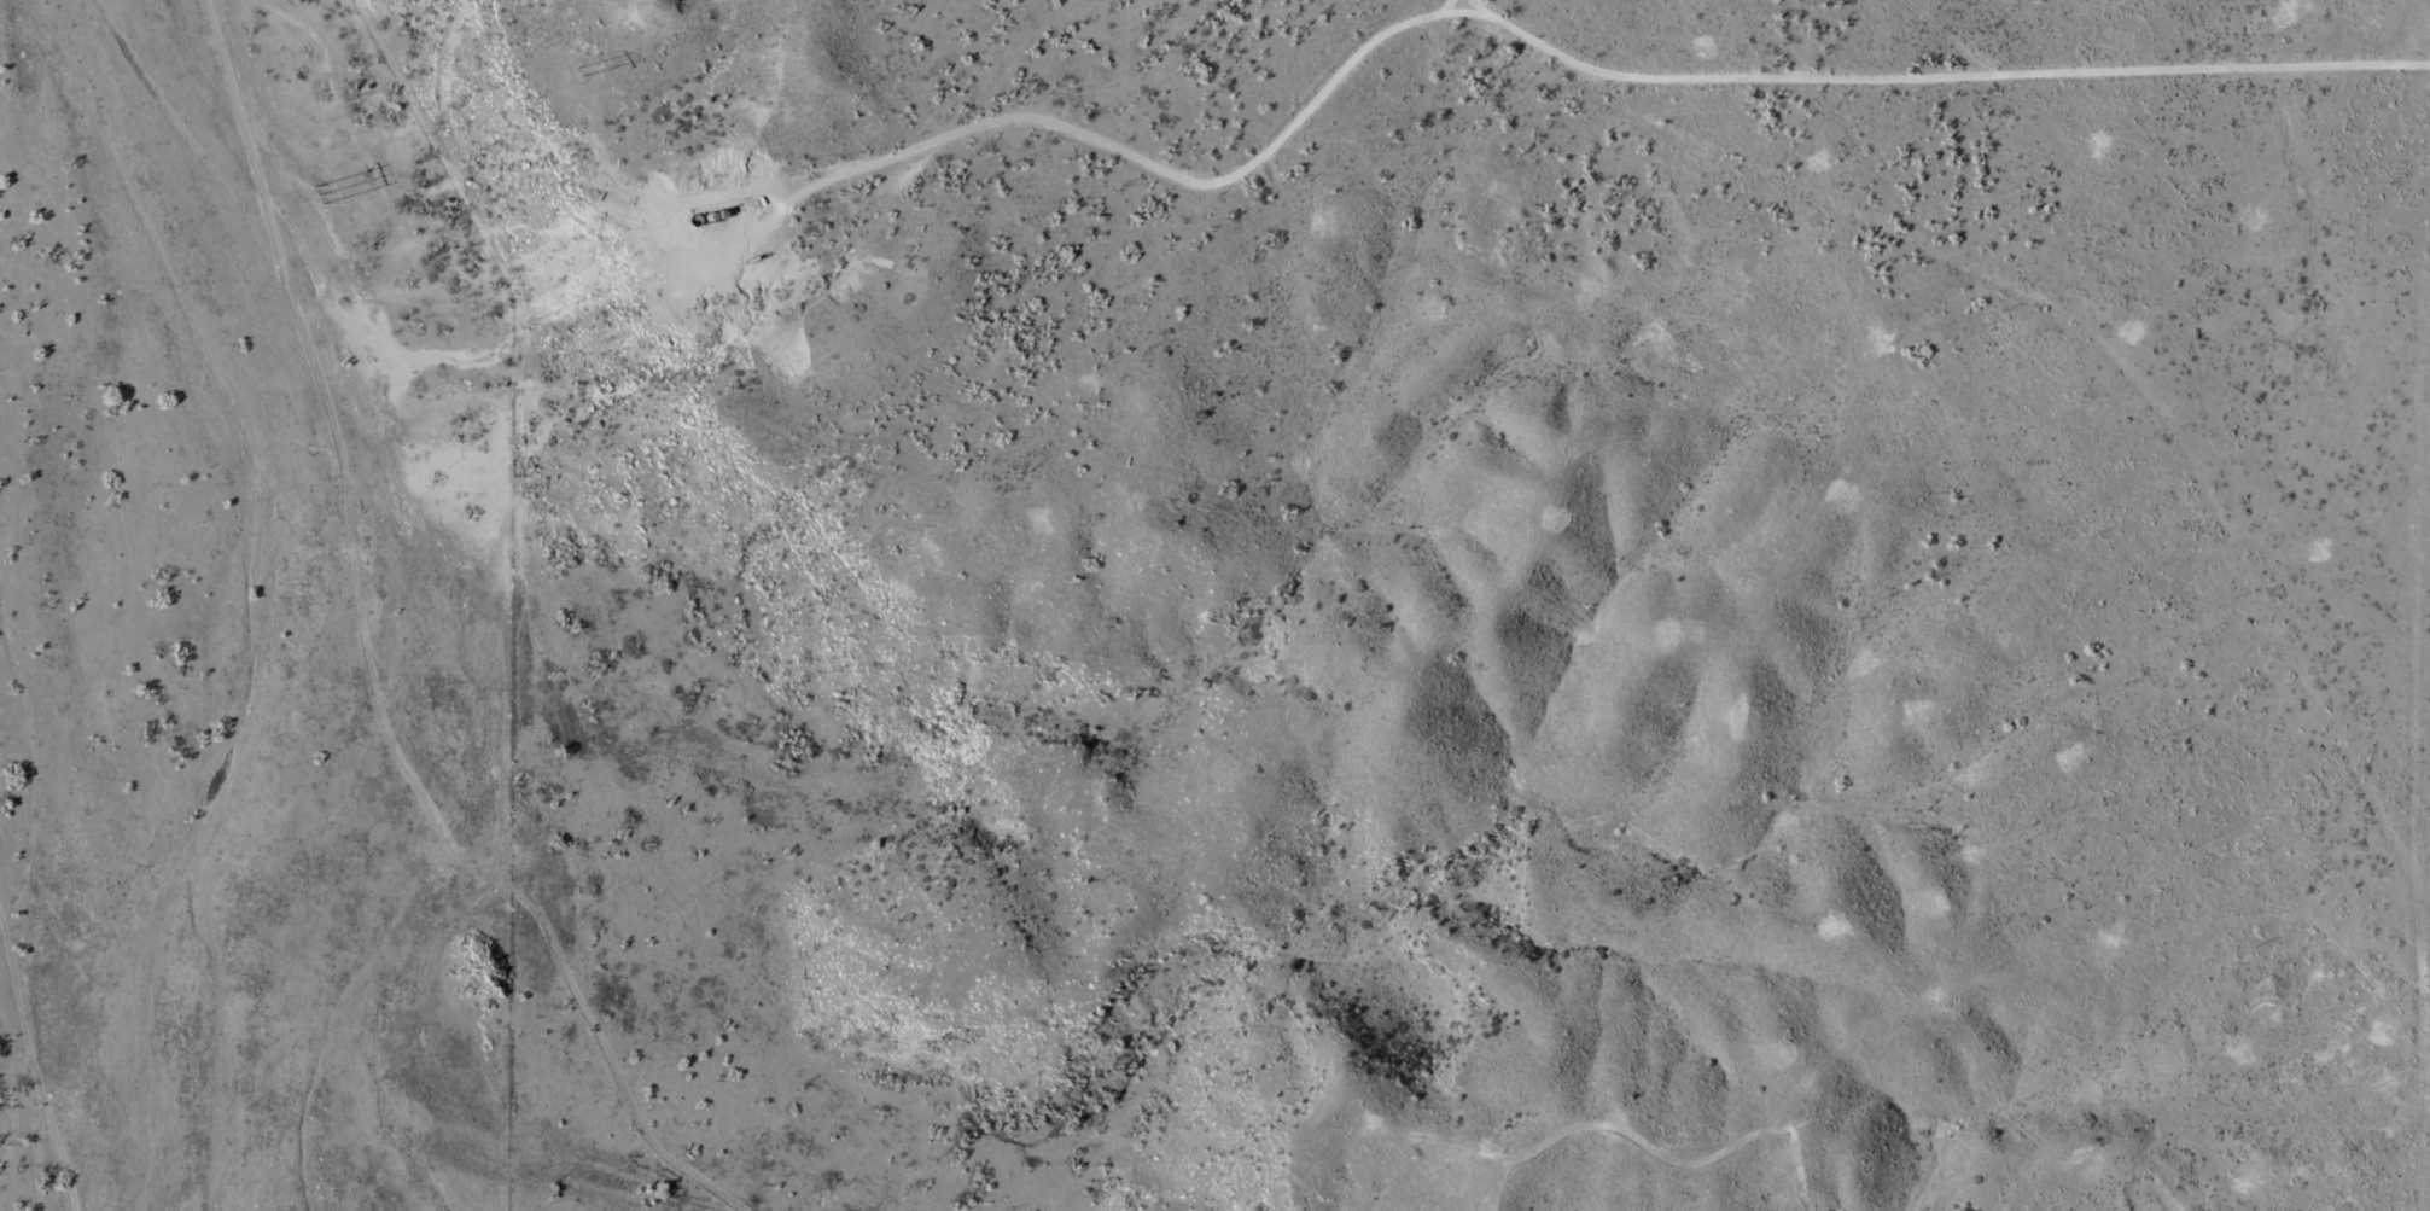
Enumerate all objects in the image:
power tower: (317, 191)

